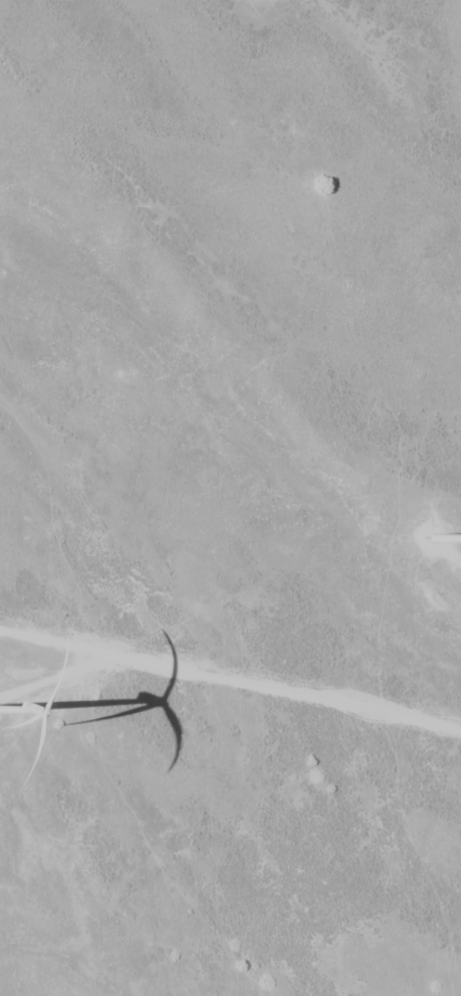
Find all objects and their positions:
wind turbine: (435, 544)

